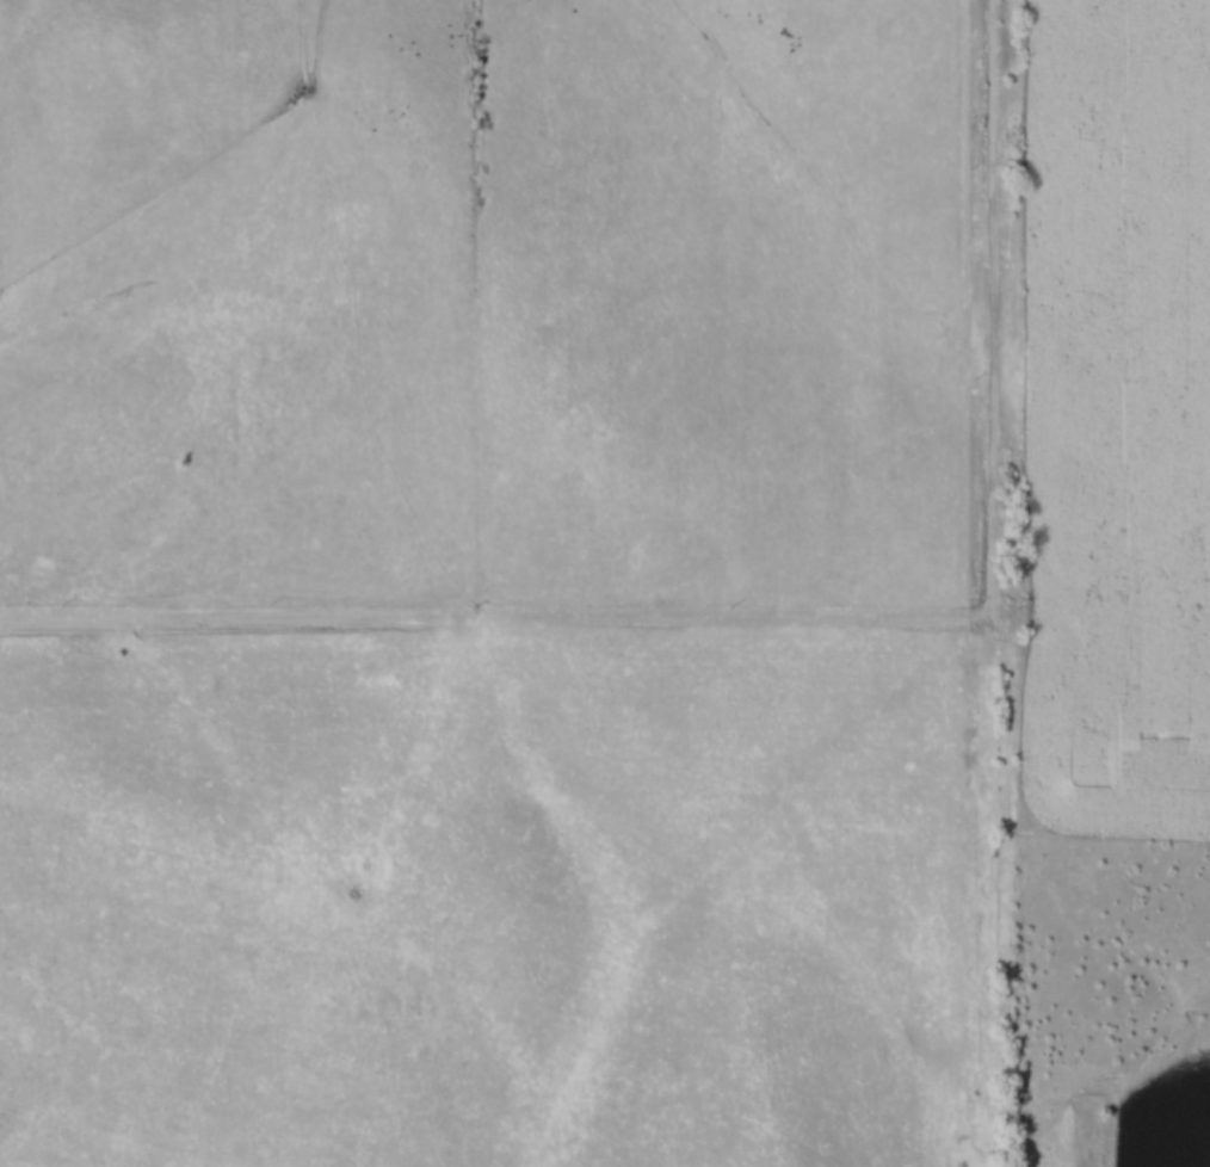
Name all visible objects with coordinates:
crop: (1122, 420)
road: (801, 624)

